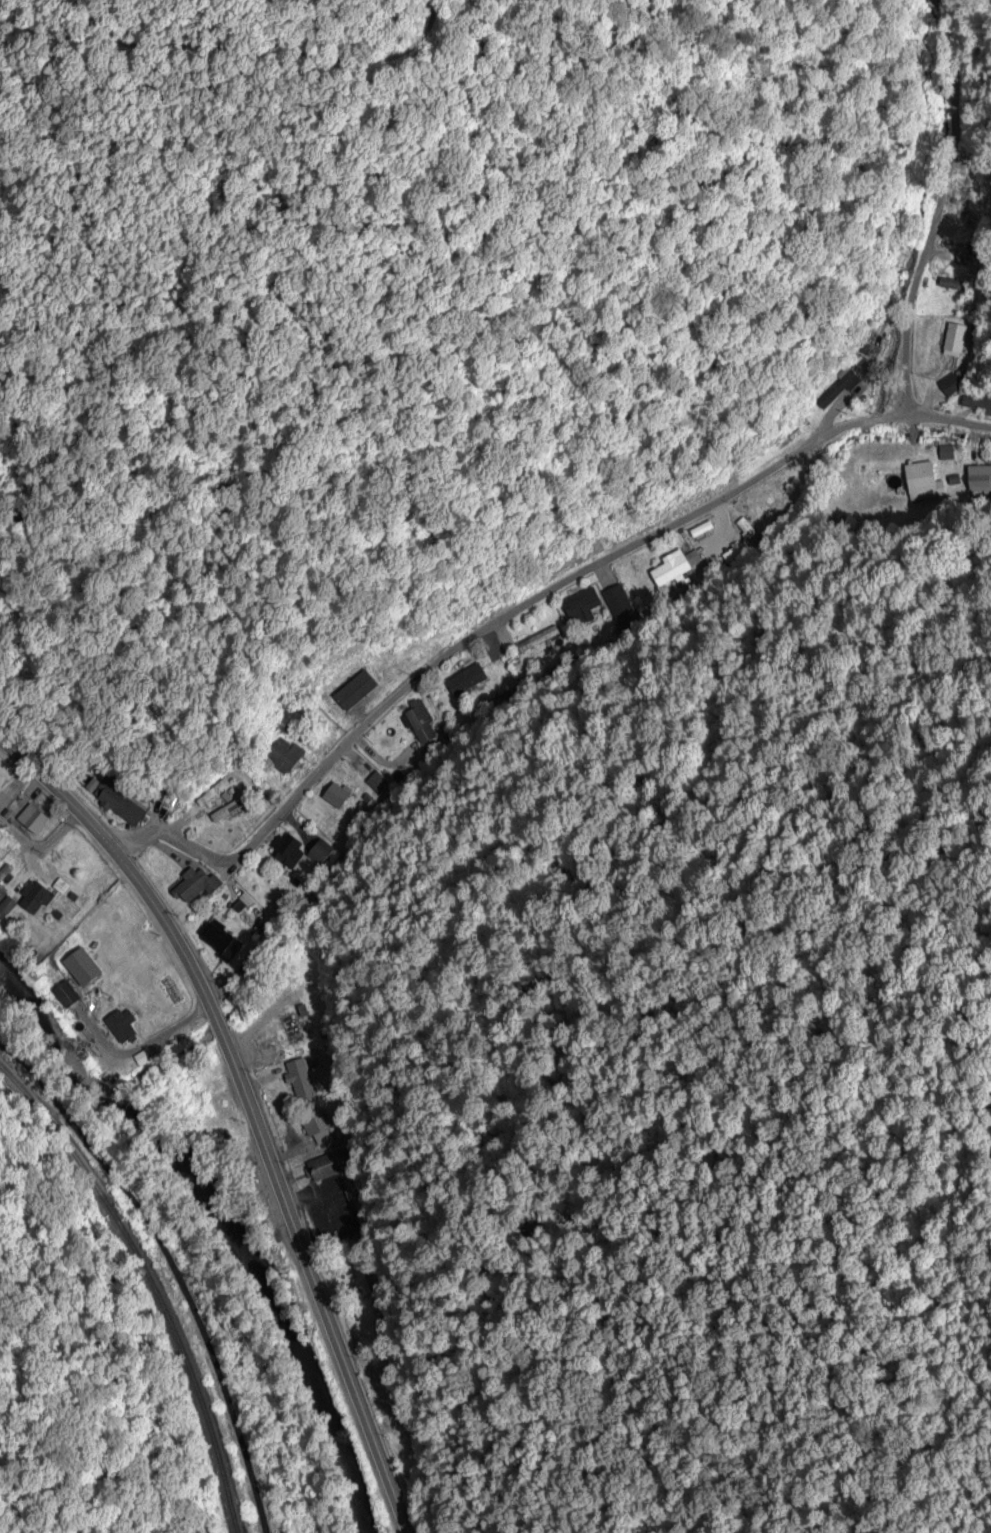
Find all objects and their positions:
road: (956, 81)
building: (965, 253)
road: (911, 289)
building: (954, 337)
building: (986, 404)
building: (945, 451)
building: (979, 478)
building: (922, 480)
building: (670, 568)
building: (618, 600)
road: (522, 604)
building: (582, 604)
building: (466, 679)
building: (420, 721)
building: (283, 753)
building: (376, 781)
building: (337, 794)
building: (115, 799)
building: (32, 817)
road: (39, 846)
building: (287, 848)
building: (319, 853)
building: (5, 872)
building: (193, 884)
building: (2, 893)
building: (35, 896)
building: (6, 906)
building: (220, 939)
building: (81, 966)
building: (122, 1024)
building: (290, 1027)
building: (300, 1077)
road: (247, 1107)
building: (316, 1126)
building: (336, 1171)
river: (229, 1220)
railway: (148, 1274)
building: (359, 1274)
quarry: (192, 1303)
road: (38, 1436)
road: (95, 1439)

